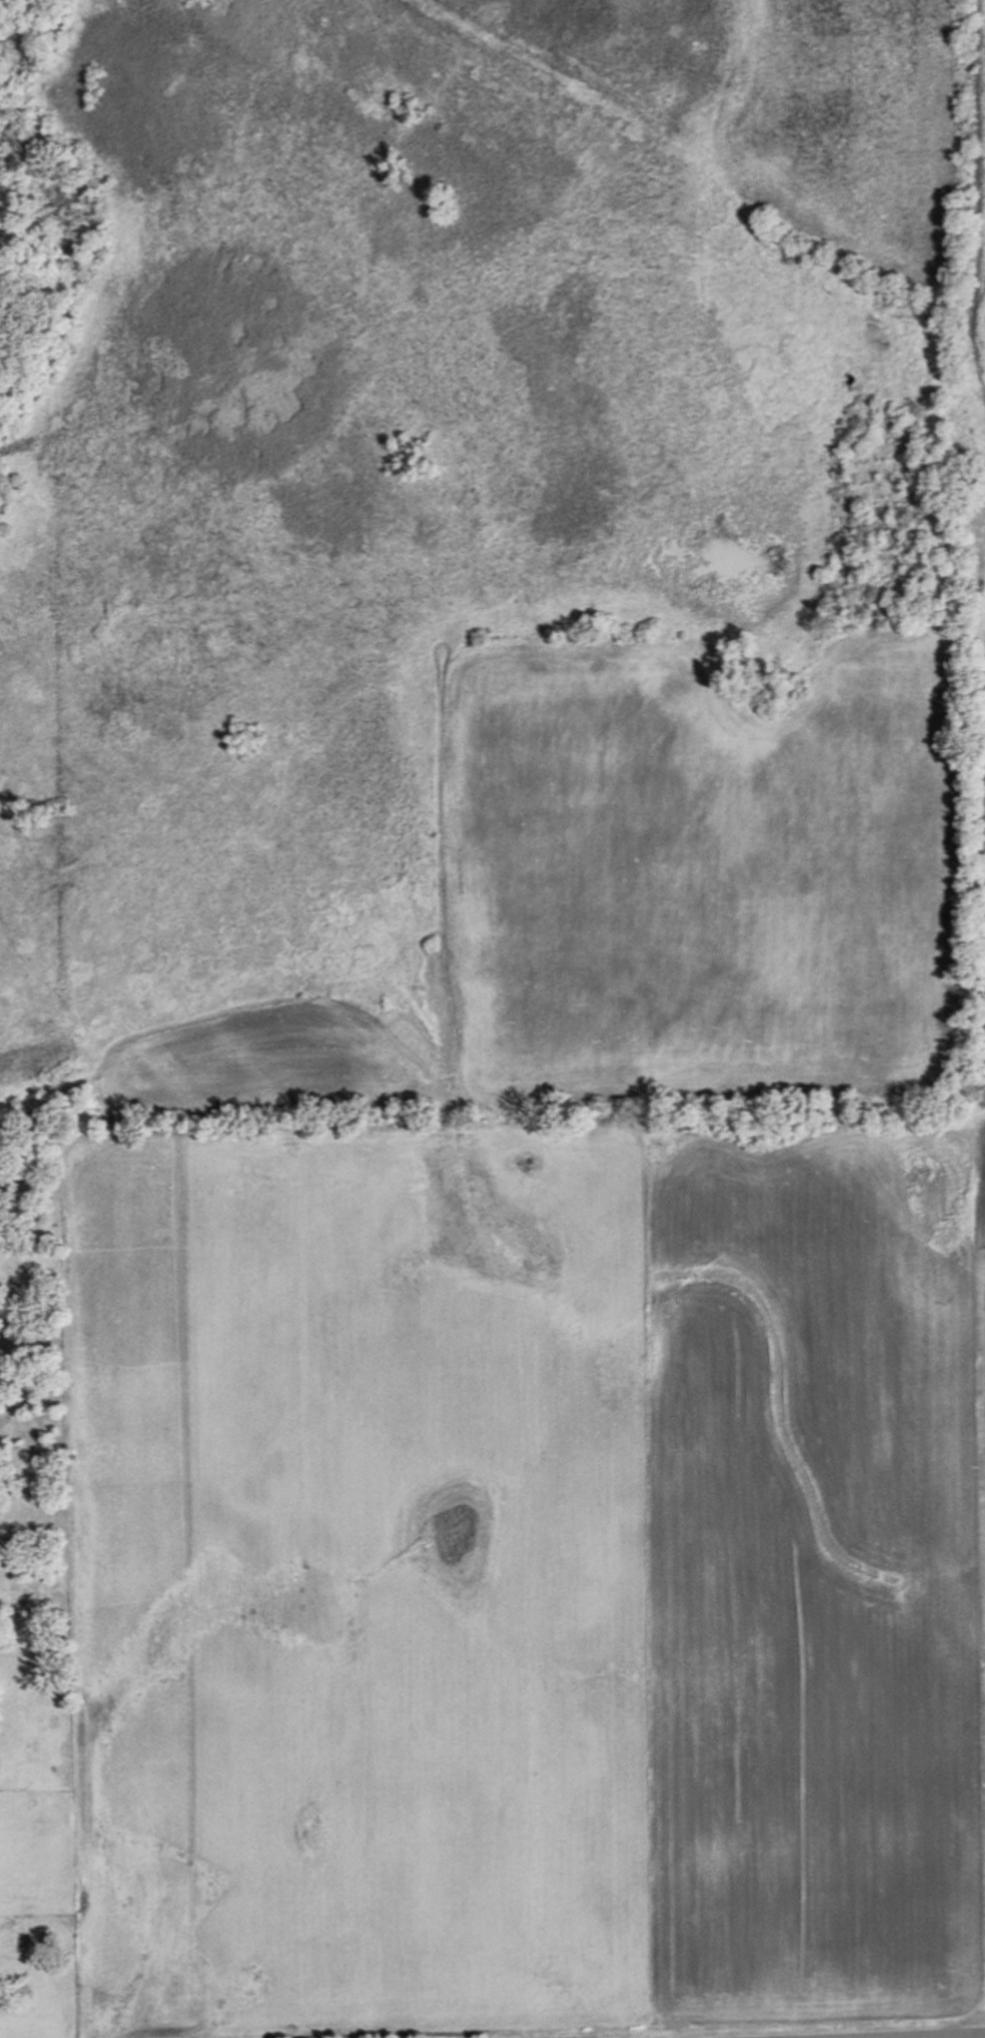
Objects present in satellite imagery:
road: (970, 2037)

